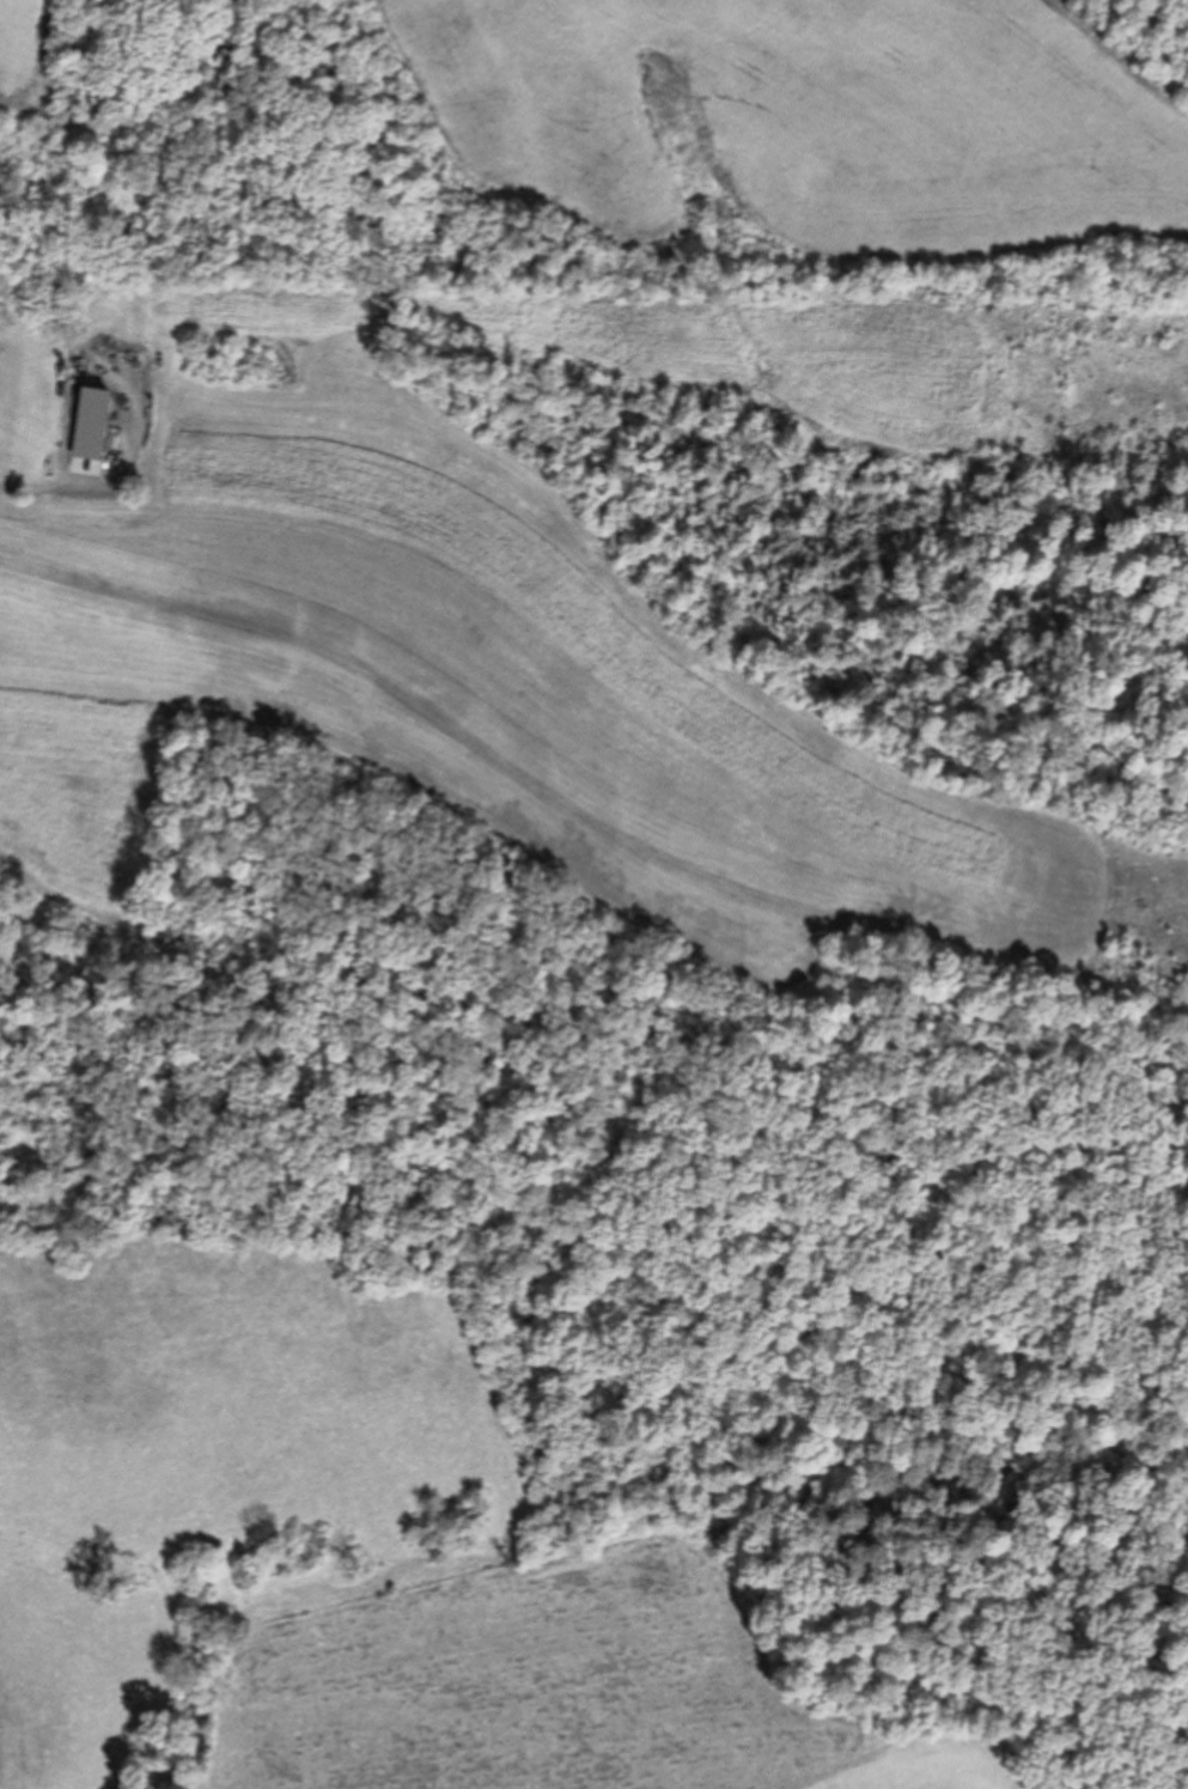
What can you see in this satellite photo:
building: (96, 426)
road: (111, 473)

